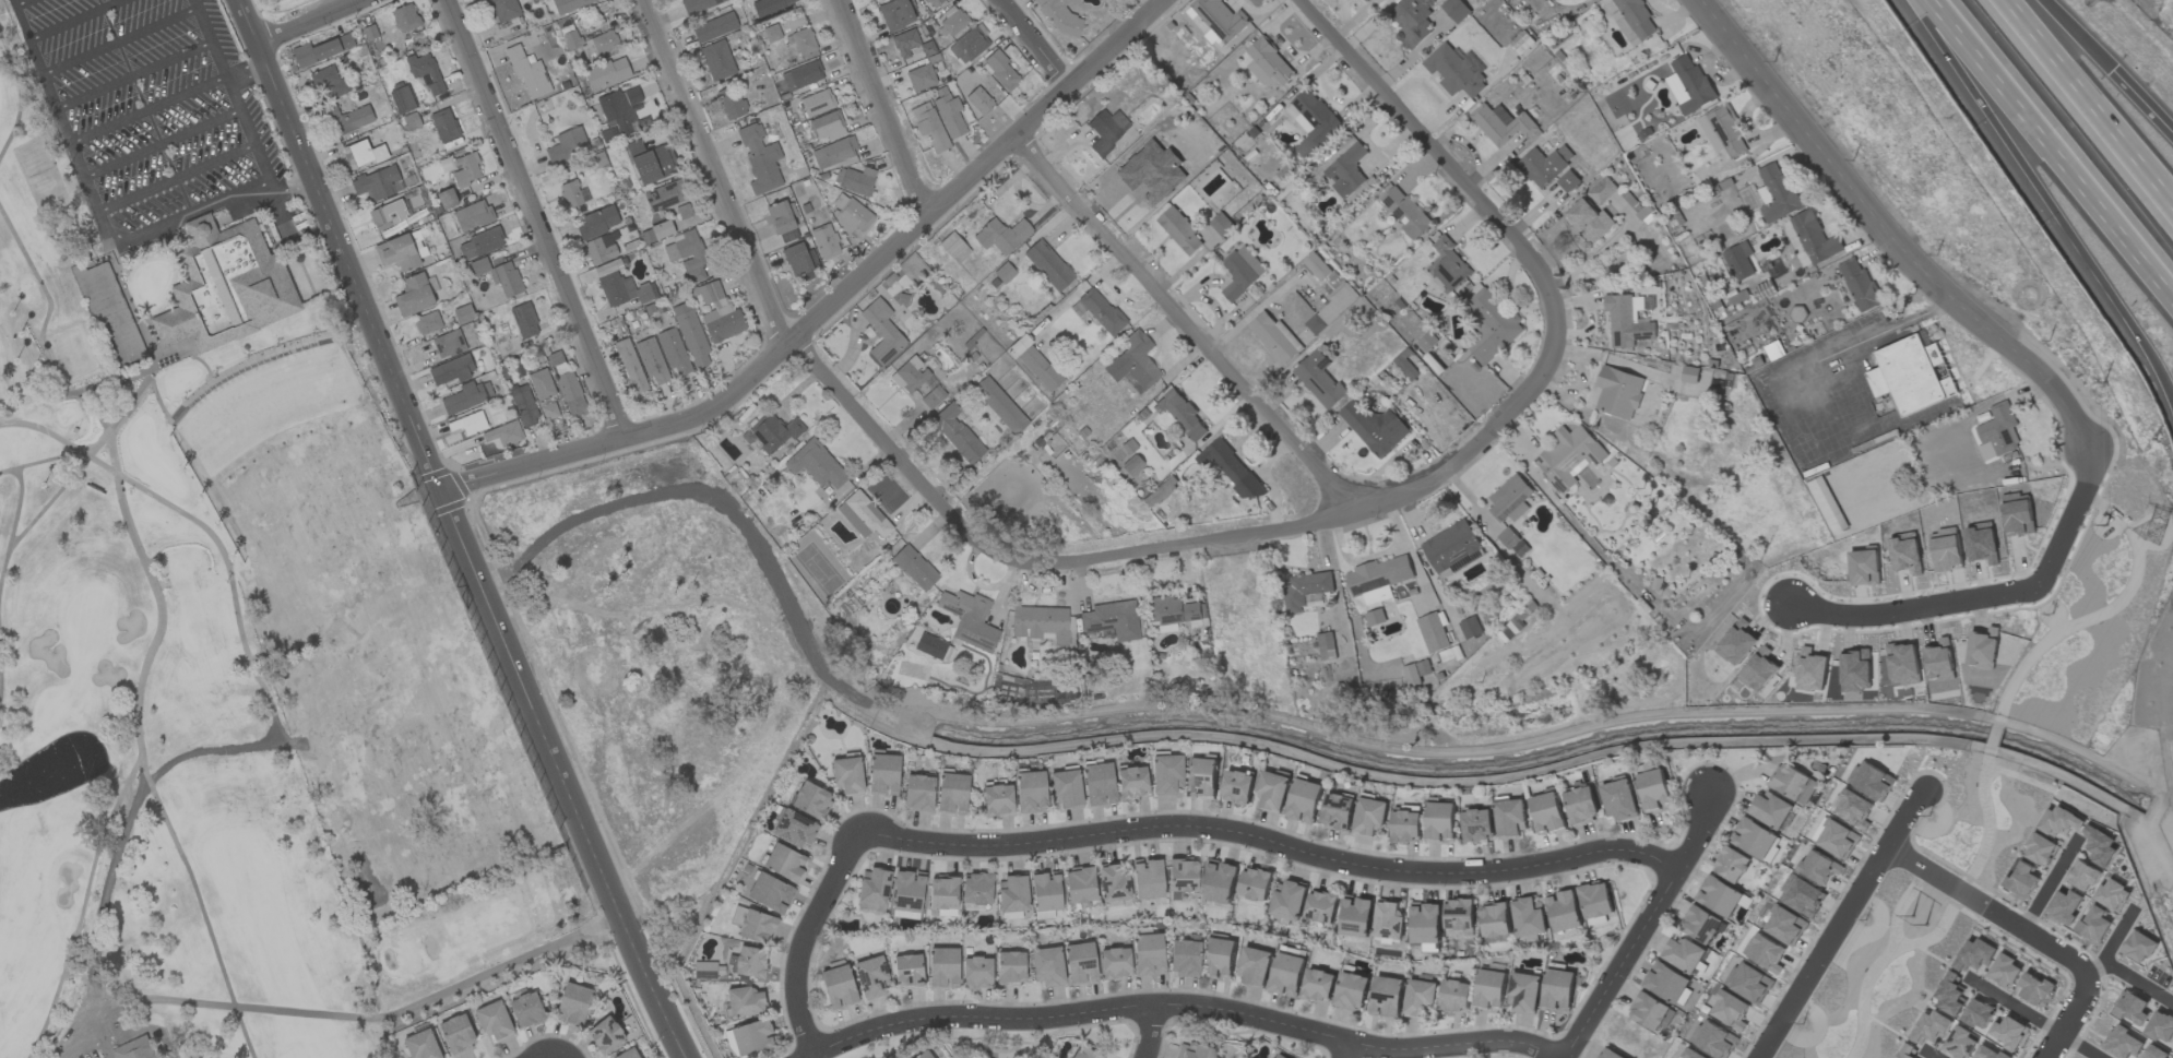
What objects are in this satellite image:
building: (869, 0)
building: (1365, 0)
road: (20, 2)
building: (934, 2)
building: (571, 4)
building: (697, 5)
building: (770, 7)
building: (503, 10)
building: (1456, 10)
building: (895, 14)
building: (1059, 16)
road: (74, 19)
building: (405, 19)
building: (1220, 20)
building: (1634, 20)
building: (1412, 21)
building: (951, 22)
road: (313, 24)
building: (714, 28)
building: (771, 33)
road: (2069, 36)
road: (120, 40)
building: (586, 40)
building: (803, 41)
building: (905, 43)
road: (1038, 43)
building: (967, 45)
building: (319, 51)
building: (717, 61)
building: (1271, 61)
building: (1454, 71)
building: (527, 72)
building: (1000, 72)
road: (249, 73)
building: (425, 73)
road: (134, 74)
building: (607, 74)
building: (801, 75)
building: (921, 78)
building: (328, 81)
building: (1688, 84)
road: (233, 92)
building: (402, 99)
building: (978, 102)
road: (2089, 102)
building: (731, 103)
building: (817, 103)
road: (882, 106)
road: (2139, 106)
road: (149, 108)
parking lot: (151, 112)
building: (619, 115)
building: (949, 116)
building: (346, 119)
building: (1311, 121)
building: (409, 122)
building: (1501, 123)
road: (64, 126)
building: (443, 126)
building: (828, 126)
building: (929, 127)
building: (1106, 130)
building: (1722, 131)
road: (163, 143)
building: (567, 145)
road: (2052, 148)
building: (833, 153)
building: (363, 154)
building: (650, 162)
building: (1544, 165)
building: (461, 168)
building: (1346, 170)
road: (716, 171)
road: (178, 177)
building: (855, 180)
building: (1568, 181)
building: (377, 183)
building: (1602, 191)
building: (1779, 193)
building: (570, 194)
building: (665, 195)
building: (1764, 195)
building: (446, 199)
road: (2049, 203)
road: (222, 204)
building: (397, 210)
building: (682, 212)
building: (1406, 213)
building: (850, 215)
building: (472, 216)
road: (536, 216)
building: (1590, 221)
building: (597, 222)
building: (781, 222)
building: (1221, 224)
building: (1180, 231)
road: (1883, 234)
building: (1001, 236)
building: (1809, 238)
building: (824, 242)
building: (479, 243)
road: (341, 245)
building: (602, 248)
building: (953, 248)
building: (396, 253)
building: (687, 255)
building: (1739, 261)
building: (799, 262)
building: (1048, 265)
building: (1447, 265)
building: (1317, 266)
building: (1240, 272)
building: (499, 275)
building: (1860, 285)
building: (619, 286)
building: (413, 296)
building: (224, 297)
road: (834, 300)
building: (1332, 308)
building: (717, 310)
building: (1102, 312)
building: (110, 314)
building: (461, 316)
building: (524, 321)
building: (1627, 321)
building: (427, 323)
building: (1492, 325)
road: (1187, 326)
building: (882, 333)
building: (690, 334)
building: (1274, 337)
building: (1426, 342)
building: (448, 344)
building: (673, 352)
road: (1837, 354)
building: (651, 360)
building: (1133, 361)
building: (630, 366)
building: (1038, 368)
building: (452, 370)
building: (1911, 375)
building: (1319, 379)
building: (917, 383)
building: (541, 384)
building: (567, 387)
building: (1618, 392)
building: (466, 397)
building: (523, 405)
building: (1002, 408)
building: (548, 411)
building: (1182, 413)
building: (468, 424)
building: (1374, 427)
building: (1997, 432)
building: (503, 433)
building: (771, 433)
building: (957, 433)
building: (1569, 455)
building: (816, 465)
building: (1132, 466)
building: (1231, 468)
building: (1160, 491)
building: (1510, 500)
road: (1380, 504)
building: (1827, 504)
building: (863, 515)
building: (1512, 543)
power tower: (2158, 543)
building: (1452, 548)
building: (914, 568)
building: (1379, 574)
building: (1306, 590)
road: (1990, 597)
park: (224, 603)
building: (1174, 611)
building: (969, 619)
building: (1111, 620)
building: (1041, 623)
building: (1470, 628)
building: (1433, 632)
building: (933, 647)
building: (1902, 661)
building: (1855, 667)
building: (1415, 671)
building: (1759, 671)
building: (1809, 679)
building: (1165, 774)
road: (559, 775)
building: (846, 775)
building: (883, 775)
building: (1202, 777)
building: (1871, 781)
building: (1131, 782)
building: (1097, 784)
building: (1793, 784)
building: (1237, 787)
building: (1065, 788)
building: (1653, 789)
building: (1272, 790)
building: (1030, 792)
building: (918, 793)
building: (951, 794)
building: (811, 800)
building: (997, 800)
building: (1620, 800)
building: (1304, 801)
building: (1581, 805)
building: (1852, 808)
building: (1770, 809)
building: (1338, 811)
building: (1547, 812)
building: (1370, 816)
building: (1511, 818)
road: (1904, 818)
building: (1440, 821)
building: (2059, 821)
building: (1477, 824)
building: (1406, 827)
building: (795, 829)
building: (1836, 837)
building: (1754, 839)
road: (1274, 844)
building: (2099, 845)
building: (2039, 849)
building: (785, 863)
building: (1731, 865)
building: (1818, 867)
building: (2082, 876)
building: (1182, 877)
building: (1148, 879)
building: (1220, 881)
building: (2021, 881)
building: (1113, 882)
building: (1255, 883)
road: (2049, 883)
building: (1080, 885)
building: (872, 887)
building: (976, 888)
building: (907, 891)
building: (1045, 891)
building: (942, 892)
building: (770, 893)
building: (1012, 893)
building: (2112, 894)
building: (1801, 895)
building: (1719, 896)
building: (1287, 900)
building: (1595, 900)
building: (1321, 906)
building: (2064, 906)
road: (1987, 908)
building: (1564, 911)
building: (1355, 916)
building: (1459, 917)
building: (1529, 917)
building: (1388, 919)
building: (1494, 919)
building: (1425, 923)
building: (1700, 924)
power tower: (1924, 924)
building: (1782, 925)
building: (2093, 925)
building: (758, 927)
road: (1644, 927)
road: (804, 938)
road: (2114, 944)
building: (2138, 947)
building: (1765, 952)
road: (1822, 952)
building: (1682, 953)
building: (1148, 954)
building: (1974, 954)
building: (1184, 958)
building: (1220, 959)
building: (750, 962)
building: (1080, 963)
building: (1115, 963)
building: (1047, 966)
building: (1255, 966)
building: (942, 967)
building: (1010, 968)
building: (708, 971)
building: (2004, 971)
building: (907, 972)
building: (976, 973)
building: (1286, 975)
building: (871, 977)
building: (1748, 982)
road: (2138, 983)
building: (1667, 984)
building: (1318, 985)
building: (838, 987)
building: (1557, 989)
building: (1489, 990)
building: (2035, 990)
building: (1351, 991)
building: (1523, 992)
building: (1950, 995)
building: (1454, 996)
building: (1387, 997)
building: (1420, 998)
building: (746, 1001)
building: (572, 1004)
building: (2130, 1008)
building: (525, 1010)
road: (1179, 1010)
building: (1729, 1011)
building: (1650, 1012)
road: (337, 1013)
building: (1978, 1014)
road: (2033, 1018)
road: (2070, 1018)
building: (494, 1021)
building: (1929, 1026)
building: (2160, 1026)
building: (2010, 1033)
road: (1149, 1034)
building: (456, 1035)
building: (605, 1035)
building: (751, 1037)
building: (1713, 1039)
building: (1960, 1043)
building: (2122, 1043)
building: (420, 1045)
building: (134, 1049)
building: (1907, 1050)
building: (1194, 1051)
road: (1352, 1053)
building: (1988, 1053)
building: (2157, 1053)
building: (627, 1054)
building: (1083, 1054)
building: (1611, 1054)
building: (1691, 1054)
building: (923, 1055)
road: (1929, 1055)
building: (1278, 1056)

